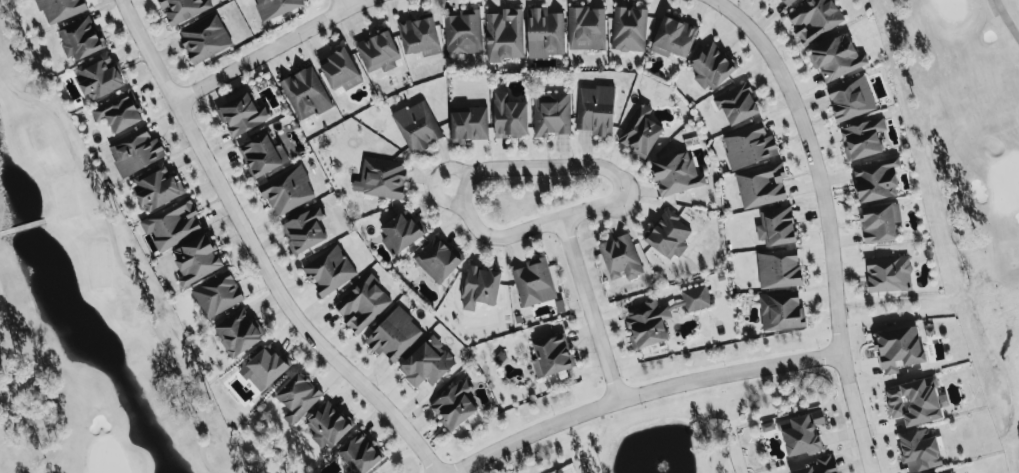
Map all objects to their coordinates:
building: (787, 2)
road: (343, 4)
building: (276, 7)
building: (60, 9)
building: (183, 9)
building: (814, 19)
building: (586, 28)
building: (629, 29)
building: (463, 32)
building: (545, 33)
building: (504, 35)
building: (419, 36)
building: (673, 37)
building: (204, 38)
building: (80, 39)
road: (272, 49)
building: (377, 52)
building: (835, 58)
building: (711, 67)
building: (340, 70)
building: (99, 76)
building: (305, 93)
building: (850, 99)
building: (737, 104)
building: (595, 110)
building: (118, 112)
building: (551, 114)
building: (242, 115)
building: (509, 117)
building: (469, 125)
building: (417, 126)
building: (640, 132)
building: (862, 139)
building: (748, 146)
building: (135, 151)
building: (262, 155)
road: (512, 167)
building: (675, 174)
park: (968, 177)
park: (968, 177)
building: (381, 178)
building: (875, 180)
road: (434, 181)
building: (156, 186)
building: (761, 186)
building: (287, 190)
road: (828, 219)
building: (879, 223)
building: (172, 224)
building: (776, 227)
building: (304, 230)
building: (401, 232)
building: (668, 236)
road: (256, 252)
building: (620, 258)
building: (196, 259)
building: (438, 260)
building: (778, 269)
building: (329, 270)
building: (888, 274)
building: (533, 283)
building: (480, 287)
building: (217, 295)
building: (362, 304)
park: (84, 307)
park: (84, 307)
road: (590, 308)
building: (781, 311)
building: (660, 316)
building: (238, 332)
building: (393, 335)
building: (897, 349)
building: (551, 356)
building: (427, 363)
building: (266, 367)
road: (641, 394)
building: (297, 398)
building: (914, 402)
building: (455, 406)
building: (328, 425)
building: (767, 427)
building: (800, 434)
building: (919, 450)
building: (360, 454)
building: (819, 466)
building: (948, 472)

